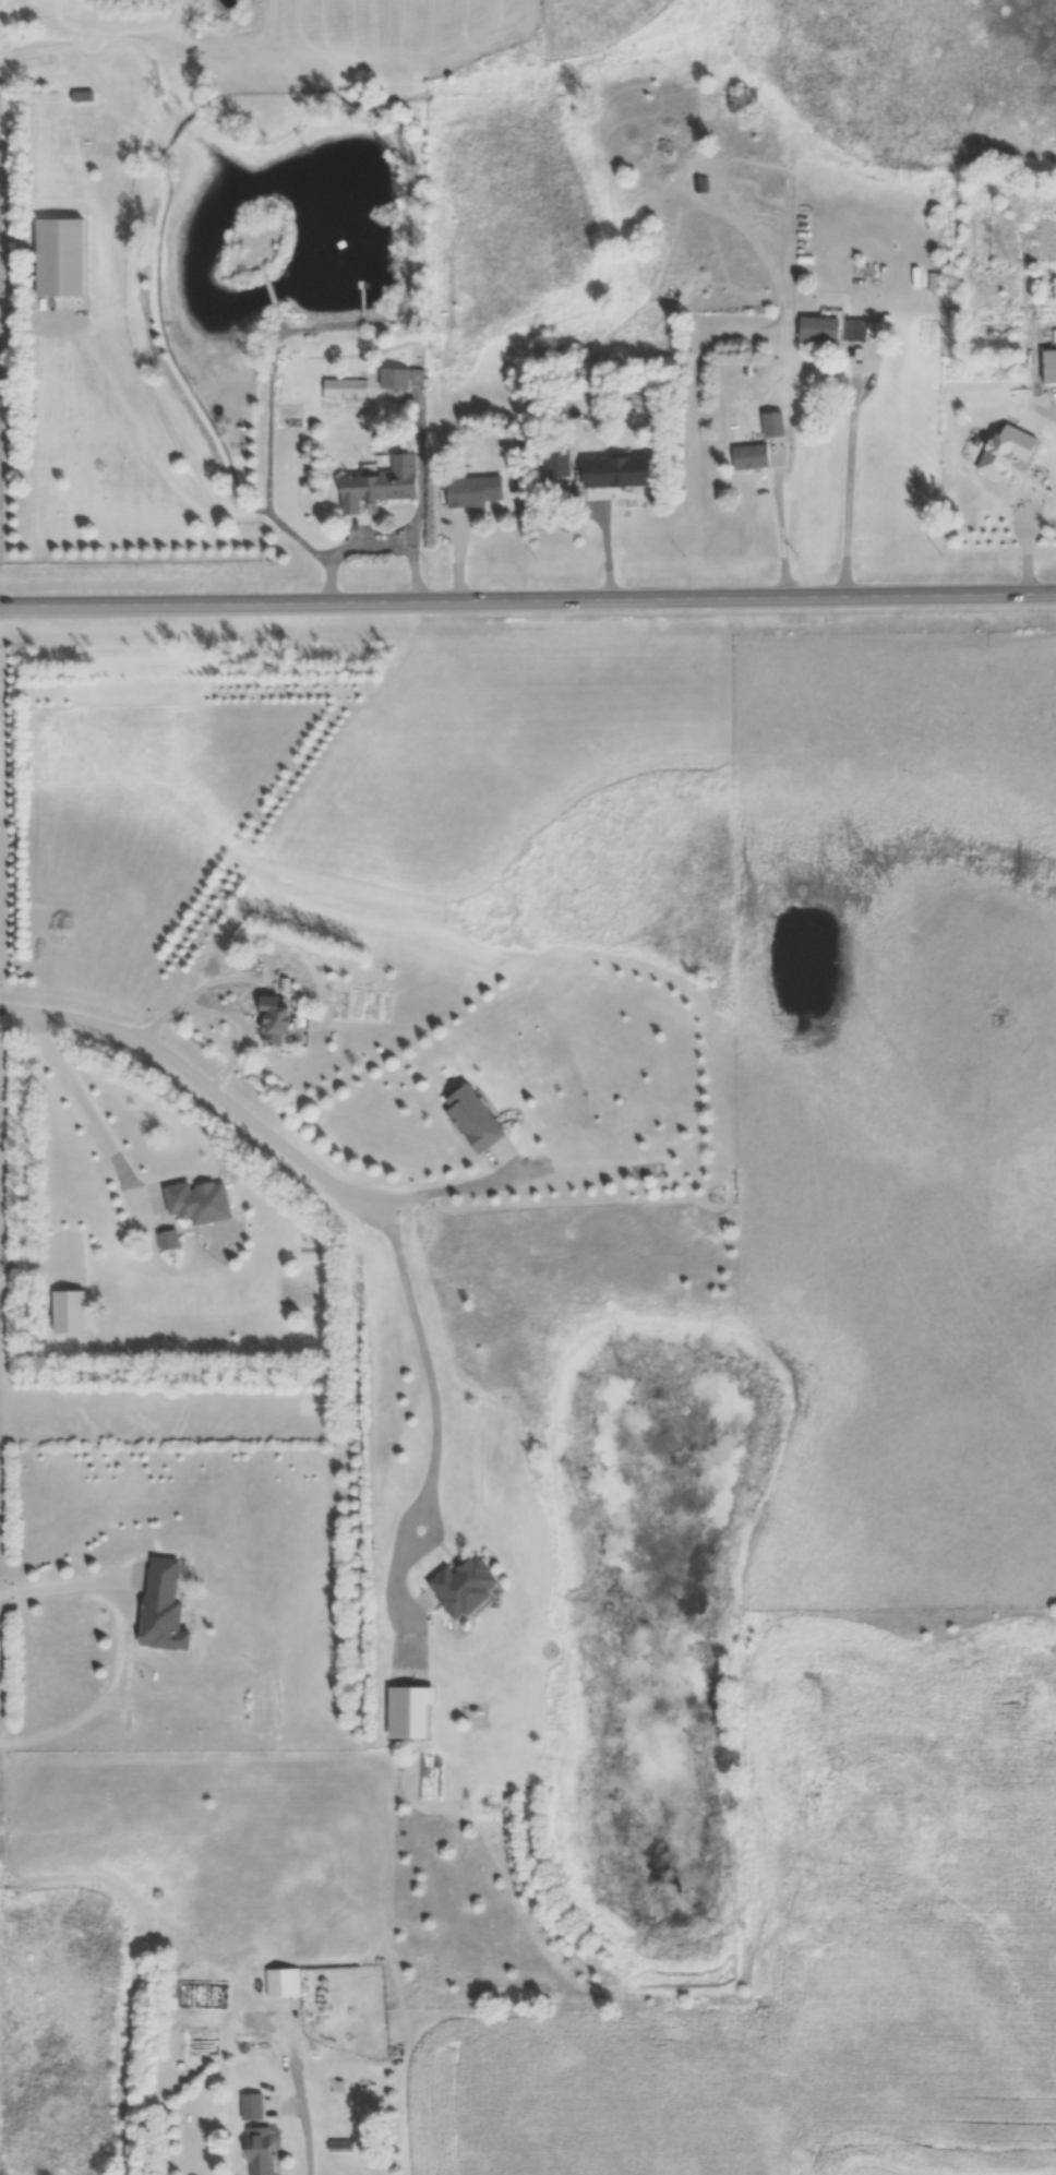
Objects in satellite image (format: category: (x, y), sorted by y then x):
building: (83, 96)
building: (704, 186)
building: (63, 259)
building: (837, 331)
building: (1051, 367)
building: (397, 379)
building: (346, 387)
building: (776, 425)
building: (753, 457)
building: (559, 462)
building: (624, 476)
building: (383, 486)
road: (849, 487)
building: (1043, 489)
building: (478, 492)
road: (781, 534)
road: (374, 539)
road: (611, 543)
road: (528, 605)
road: (190, 995)
building: (278, 1019)
road: (243, 1028)
road: (200, 1081)
road: (92, 1108)
building: (477, 1119)
road: (467, 1192)
building: (202, 1202)
building: (170, 1239)
road: (37, 1262)
building: (71, 1311)
road: (434, 1442)
building: (468, 1586)
road: (70, 1587)
building: (166, 1608)
building: (409, 1707)
crop: (828, 1939)
building: (287, 1983)
building: (255, 2044)
building: (254, 2106)
road: (308, 2138)
building: (262, 2151)

